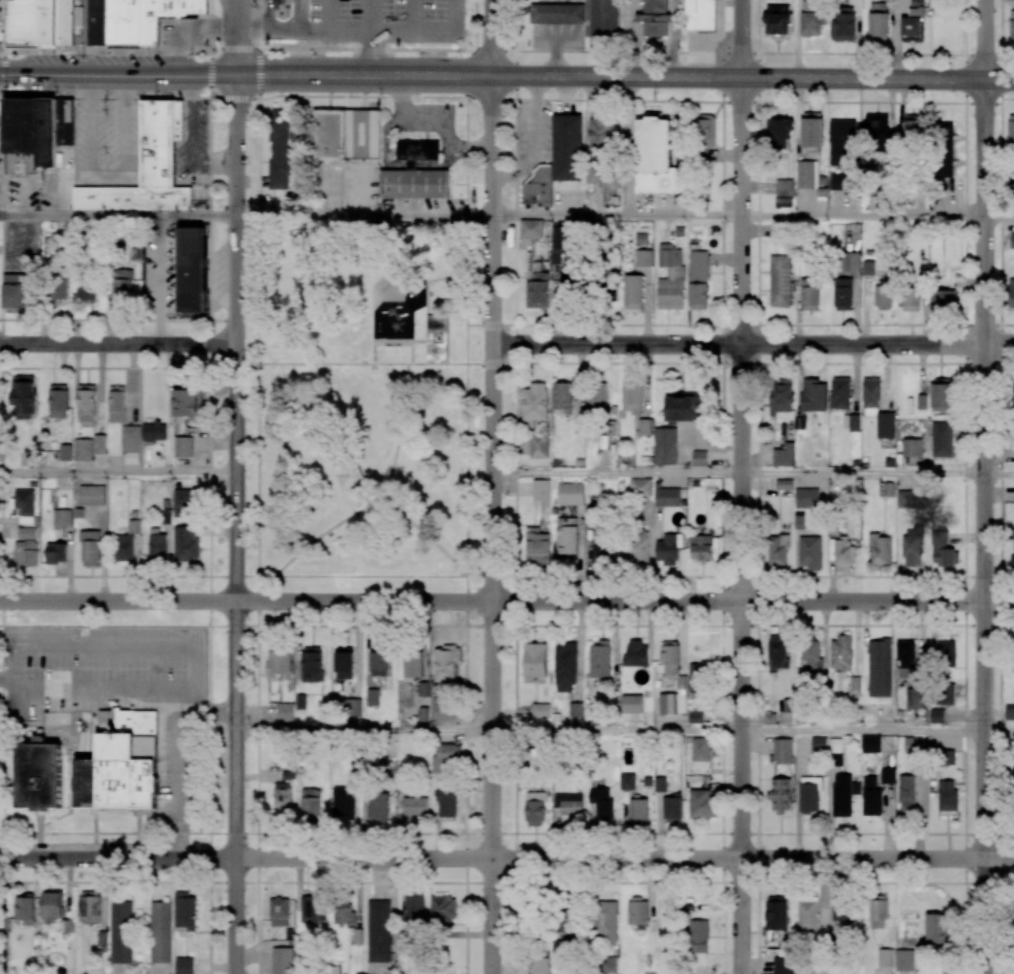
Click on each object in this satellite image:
building: (277, 2)
building: (558, 13)
road: (328, 15)
road: (412, 15)
building: (700, 15)
road: (455, 16)
building: (605, 17)
building: (654, 17)
building: (136, 19)
building: (777, 19)
building: (811, 20)
building: (41, 22)
building: (878, 22)
building: (912, 24)
building: (1011, 24)
road: (346, 30)
road: (238, 37)
road: (372, 37)
road: (494, 38)
road: (743, 39)
road: (985, 39)
road: (506, 50)
road: (4, 71)
road: (210, 72)
road: (260, 73)
road: (118, 74)
road: (325, 74)
road: (713, 78)
road: (1007, 98)
road: (500, 99)
building: (19, 125)
building: (876, 125)
building: (911, 127)
building: (812, 129)
building: (704, 130)
building: (1011, 131)
building: (600, 132)
building: (781, 132)
building: (363, 134)
road: (193, 142)
building: (842, 142)
road: (539, 143)
building: (567, 147)
road: (630, 147)
building: (280, 148)
building: (943, 149)
building: (418, 150)
building: (655, 158)
building: (146, 167)
building: (806, 174)
building: (593, 176)
road: (108, 179)
building: (841, 181)
building: (414, 184)
building: (539, 188)
building: (784, 193)
building: (1012, 193)
road: (118, 216)
road: (365, 216)
road: (617, 217)
road: (863, 217)
road: (999, 217)
road: (261, 218)
road: (468, 219)
building: (531, 228)
building: (1012, 240)
building: (559, 243)
building: (643, 258)
building: (850, 261)
building: (868, 267)
building: (192, 269)
building: (670, 277)
road: (480, 278)
road: (162, 280)
building: (698, 280)
road: (431, 281)
building: (780, 281)
building: (122, 285)
building: (58, 289)
building: (86, 289)
building: (15, 290)
building: (538, 291)
building: (633, 291)
building: (1011, 293)
building: (809, 294)
building: (843, 294)
building: (883, 294)
building: (910, 299)
building: (943, 299)
road: (247, 320)
building: (436, 322)
road: (479, 324)
road: (388, 341)
building: (436, 344)
road: (118, 345)
road: (753, 345)
road: (412, 352)
road: (363, 363)
road: (480, 364)
road: (248, 367)
building: (840, 392)
building: (942, 394)
building: (814, 395)
building: (24, 396)
building: (562, 396)
building: (780, 396)
building: (597, 397)
building: (632, 397)
road: (258, 398)
road: (466, 398)
building: (59, 400)
building: (921, 401)
building: (186, 402)
building: (1013, 402)
building: (86, 403)
building: (116, 404)
building: (534, 404)
park: (364, 406)
building: (681, 406)
building: (577, 408)
building: (877, 408)
building: (851, 422)
building: (646, 425)
building: (613, 426)
building: (154, 431)
road: (398, 432)
building: (130, 438)
building: (942, 439)
building: (101, 442)
building: (666, 444)
building: (183, 446)
building: (538, 446)
building: (912, 447)
building: (84, 448)
building: (66, 451)
building: (784, 455)
building: (701, 456)
road: (118, 472)
road: (617, 472)
road: (863, 474)
road: (999, 474)
building: (349, 476)
building: (784, 484)
building: (642, 486)
road: (1000, 486)
building: (542, 488)
road: (368, 489)
building: (888, 489)
building: (572, 492)
building: (92, 495)
building: (669, 496)
building: (806, 498)
road: (372, 499)
building: (909, 499)
building: (185, 503)
building: (24, 505)
building: (594, 513)
building: (63, 517)
building: (799, 521)
road: (237, 524)
road: (493, 524)
road: (742, 526)
road: (985, 527)
building: (27, 533)
building: (567, 535)
building: (127, 542)
building: (186, 544)
building: (157, 545)
building: (538, 547)
building: (701, 547)
building: (90, 548)
building: (602, 548)
building: (668, 548)
building: (635, 549)
building: (880, 549)
building: (911, 551)
building: (778, 552)
building: (810, 552)
building: (25, 553)
building: (56, 553)
building: (841, 553)
building: (941, 553)
building: (1012, 562)
road: (247, 576)
road: (361, 576)
road: (479, 576)
road: (258, 589)
road: (465, 589)
road: (507, 602)
building: (778, 652)
building: (636, 653)
building: (841, 653)
building: (946, 653)
building: (810, 654)
building: (1013, 654)
building: (669, 658)
building: (600, 659)
building: (906, 659)
building: (381, 660)
building: (534, 661)
building: (414, 662)
building: (278, 663)
building: (344, 663)
building: (312, 664)
building: (565, 666)
building: (880, 667)
building: (695, 677)
building: (855, 684)
road: (124, 688)
building: (945, 694)
building: (372, 697)
building: (915, 699)
building: (633, 703)
building: (668, 703)
building: (352, 706)
building: (443, 709)
building: (576, 709)
building: (541, 710)
building: (285, 712)
building: (1009, 712)
building: (937, 716)
road: (365, 729)
road: (617, 730)
road: (863, 731)
road: (999, 731)
building: (818, 743)
building: (870, 743)
building: (913, 745)
building: (701, 749)
building: (782, 750)
building: (445, 757)
building: (947, 757)
building: (120, 763)
building: (887, 775)
building: (39, 776)
building: (1011, 777)
building: (626, 781)
road: (180, 783)
building: (660, 784)
building: (809, 794)
building: (906, 794)
building: (781, 795)
building: (842, 795)
building: (947, 796)
building: (871, 797)
building: (283, 798)
building: (601, 802)
building: (311, 803)
building: (343, 803)
building: (446, 803)
building: (701, 803)
building: (378, 804)
building: (568, 804)
building: (415, 806)
building: (672, 807)
building: (535, 809)
building: (638, 811)
road: (118, 859)
road: (625, 859)
building: (53, 905)
building: (89, 907)
building: (312, 908)
building: (24, 909)
building: (414, 909)
building: (443, 909)
building: (637, 911)
building: (841, 911)
building: (185, 912)
building: (279, 912)
building: (344, 912)
building: (776, 913)
building: (808, 913)
building: (878, 914)
building: (605, 925)
building: (937, 928)
building: (378, 930)
building: (121, 932)
building: (160, 932)
building: (698, 936)
building: (102, 940)
building: (885, 958)
building: (282, 960)
building: (905, 960)
building: (184, 965)
building: (540, 965)
building: (783, 965)

